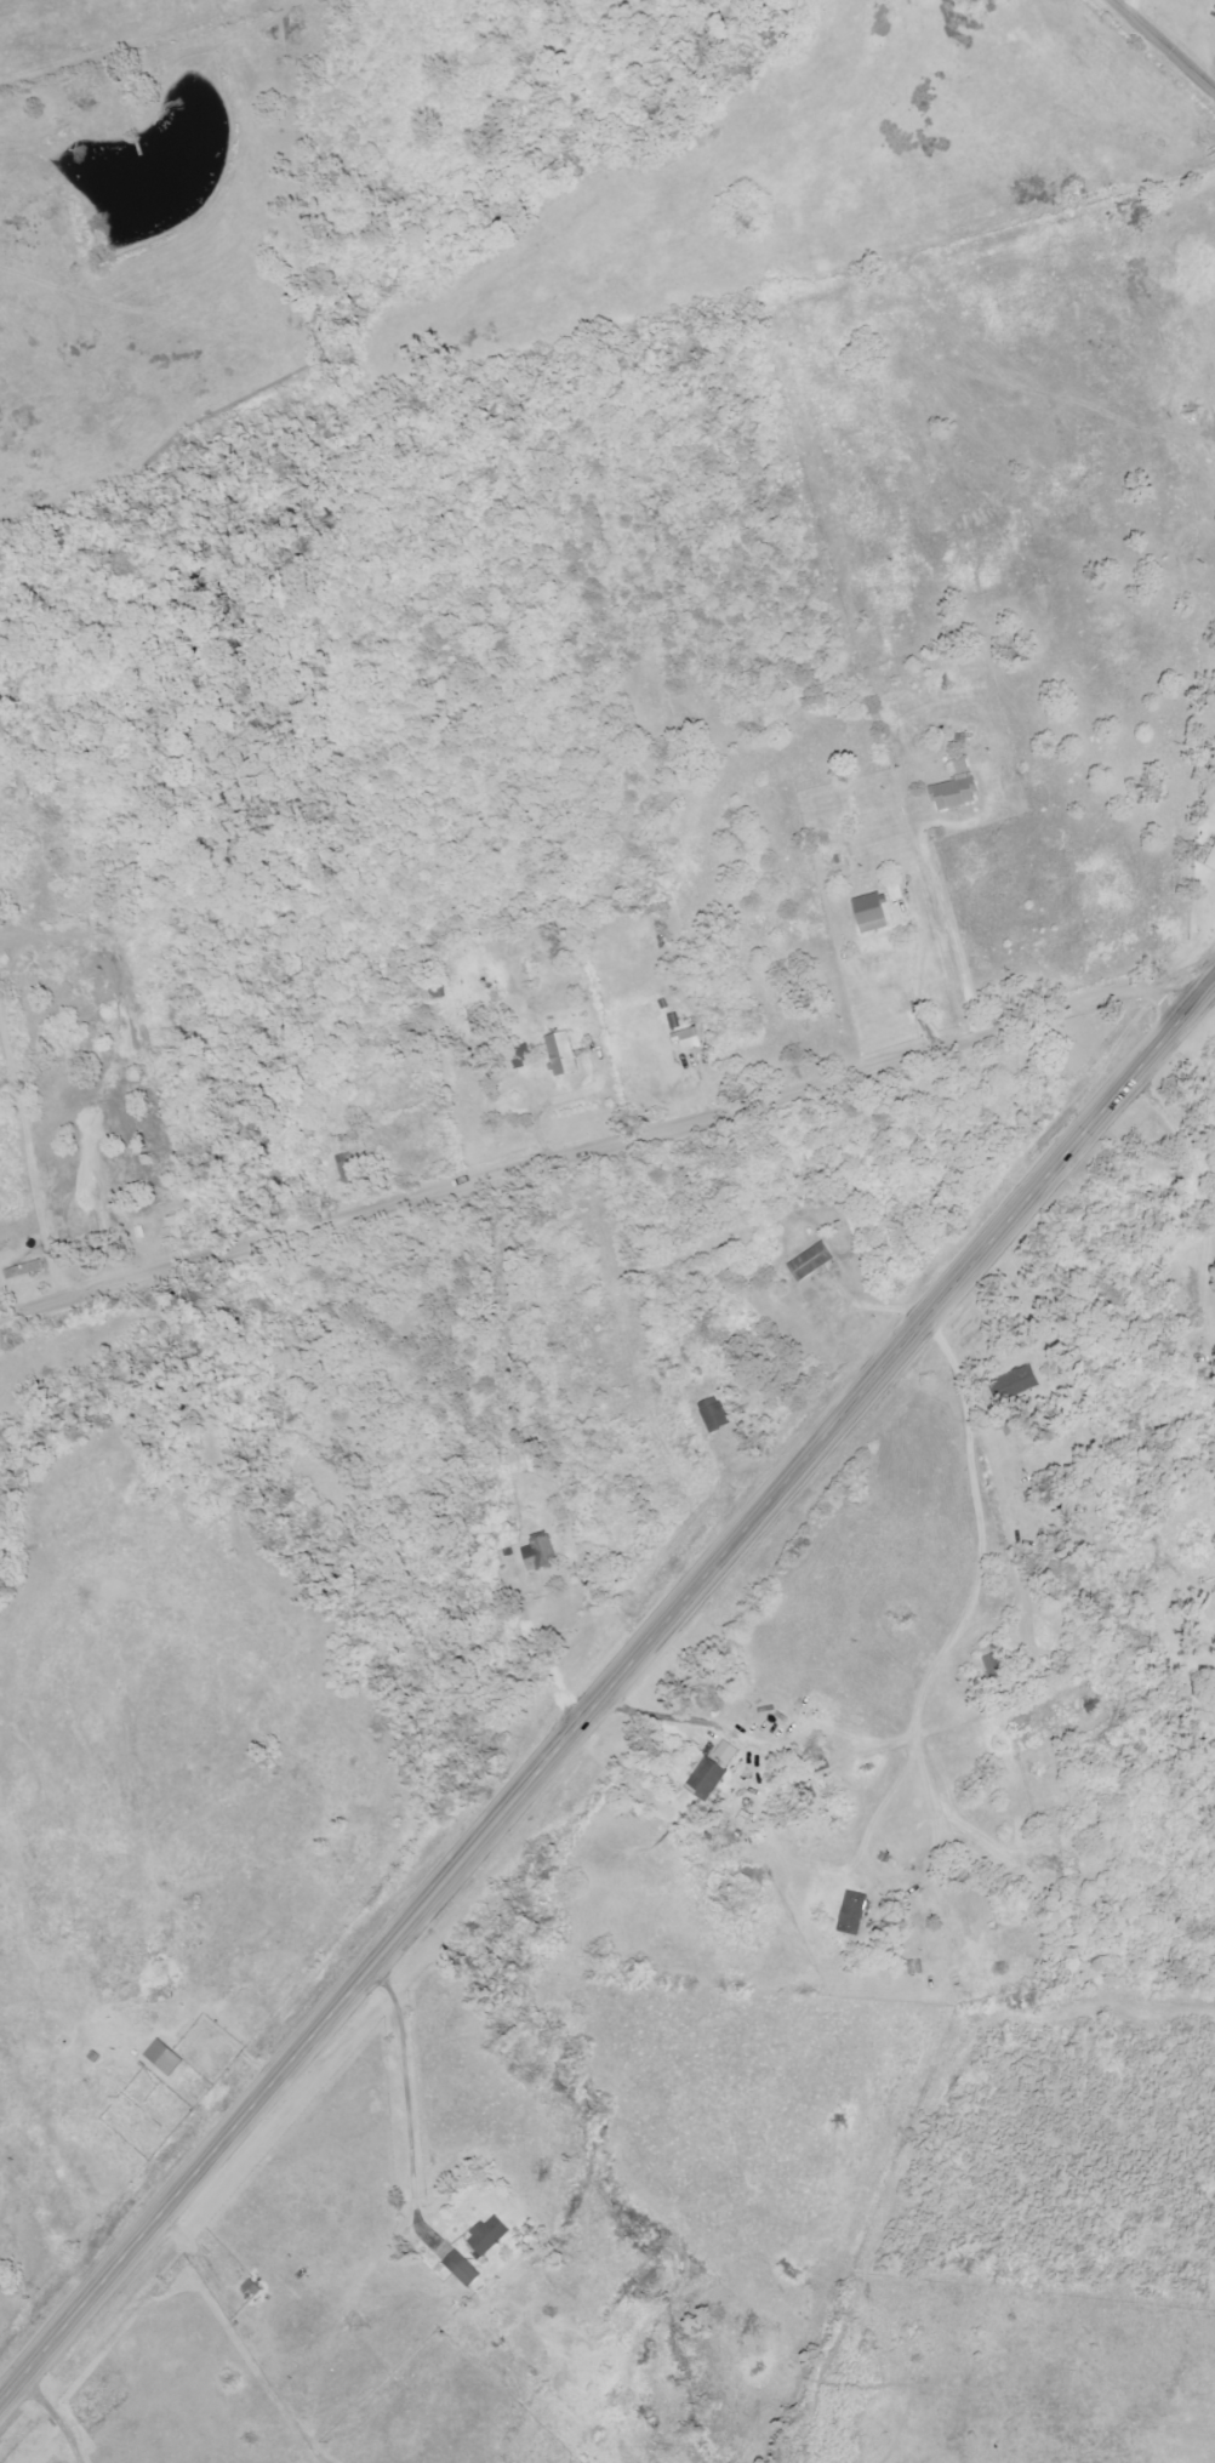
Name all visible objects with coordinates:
road: (1162, 46)
building: (963, 764)
building: (954, 793)
building: (1211, 861)
building: (871, 913)
road: (956, 925)
building: (688, 1038)
park: (1078, 1038)
building: (561, 1054)
building: (520, 1055)
road: (600, 1148)
building: (348, 1169)
building: (810, 1261)
building: (1014, 1385)
building: (713, 1413)
building: (538, 1553)
road: (1000, 1610)
road: (606, 1692)
building: (713, 1769)
building: (852, 1909)
building: (164, 2058)
road: (410, 2093)
building: (487, 2235)
building: (462, 2268)
building: (250, 2290)
road: (58, 2416)
building: (576, 2461)

